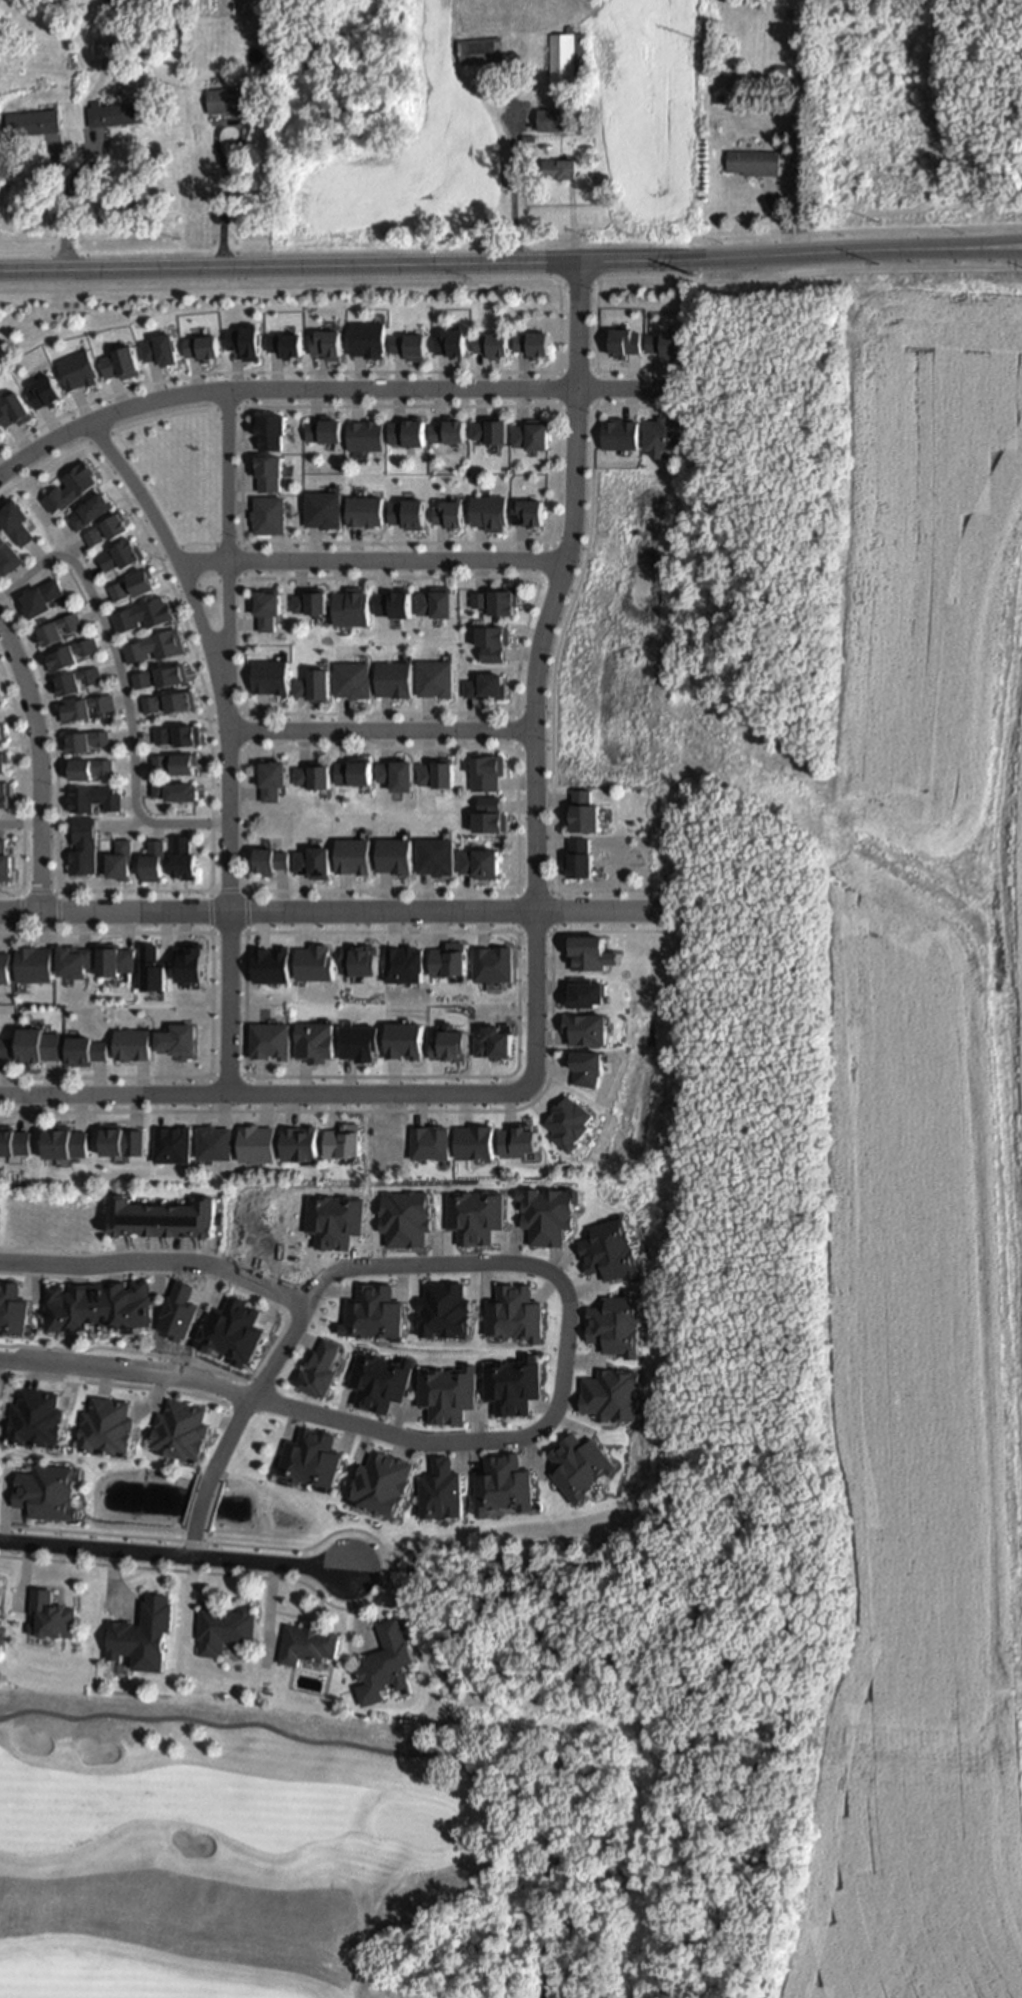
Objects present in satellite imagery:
power tower: (704, 43)
building: (479, 51)
building: (564, 56)
building: (90, 61)
building: (782, 69)
building: (268, 81)
building: (452, 91)
building: (717, 97)
building: (229, 98)
building: (115, 112)
building: (549, 118)
building: (33, 119)
building: (528, 136)
building: (754, 160)
park: (987, 161)
building: (558, 167)
road: (514, 190)
road: (65, 204)
road: (221, 204)
road: (856, 232)
road: (982, 245)
road: (982, 250)
road: (680, 261)
power tower: (875, 266)
road: (208, 269)
road: (856, 270)
power tower: (695, 278)
road: (579, 285)
road: (279, 289)
road: (599, 318)
building: (325, 342)
building: (627, 344)
building: (665, 344)
building: (534, 346)
road: (311, 370)
road: (577, 370)
road: (596, 388)
road: (454, 389)
road: (245, 403)
road: (130, 410)
road: (557, 410)
road: (163, 421)
building: (324, 428)
building: (491, 430)
building: (366, 434)
building: (532, 434)
building: (663, 434)
road: (18, 463)
building: (366, 511)
building: (490, 512)
building: (528, 513)
road: (551, 542)
building: (7, 557)
road: (548, 560)
road: (373, 563)
road: (181, 568)
building: (38, 598)
building: (497, 602)
building: (312, 603)
building: (436, 604)
building: (354, 608)
building: (492, 642)
road: (557, 662)
road: (538, 676)
building: (160, 677)
building: (270, 677)
building: (434, 678)
building: (352, 679)
building: (393, 679)
building: (312, 685)
building: (485, 687)
road: (121, 688)
road: (515, 690)
building: (169, 700)
building: (0, 703)
building: (83, 707)
road: (225, 713)
road: (244, 731)
road: (383, 731)
building: (0, 732)
building: (176, 734)
building: (85, 740)
road: (228, 742)
road: (225, 752)
building: (1, 761)
building: (173, 761)
building: (87, 767)
building: (486, 770)
road: (31, 771)
building: (353, 772)
building: (435, 772)
building: (396, 773)
building: (312, 774)
building: (272, 776)
building: (174, 789)
building: (4, 792)
road: (14, 795)
building: (91, 798)
building: (490, 811)
building: (585, 811)
road: (15, 826)
road: (117, 829)
road: (208, 834)
building: (80, 846)
building: (394, 851)
building: (353, 852)
building: (435, 852)
building: (478, 858)
building: (579, 858)
building: (118, 859)
building: (270, 859)
building: (150, 860)
building: (313, 861)
road: (225, 889)
road: (519, 890)
road: (36, 891)
road: (328, 909)
road: (242, 910)
road: (206, 911)
road: (18, 912)
road: (54, 912)
road: (223, 932)
building: (72, 959)
building: (33, 963)
building: (114, 963)
building: (3, 967)
road: (206, 1006)
building: (274, 1026)
building: (37, 1040)
building: (131, 1046)
building: (5, 1047)
building: (85, 1047)
road: (514, 1076)
crop: (864, 1085)
road: (264, 1096)
road: (415, 1108)
building: (316, 1136)
building: (14, 1143)
building: (66, 1145)
building: (167, 1224)
road: (503, 1261)
road: (155, 1263)
building: (100, 1311)
road: (250, 1394)
road: (267, 1401)
building: (106, 1429)
building: (178, 1430)
road: (199, 1502)
road: (190, 1540)
road: (172, 1553)
building: (51, 1613)
park: (540, 1617)
building: (224, 1626)
building: (142, 1631)
building: (308, 1641)
building: (385, 1660)
road: (373, 1750)
park: (417, 1825)
park: (322, 1856)

